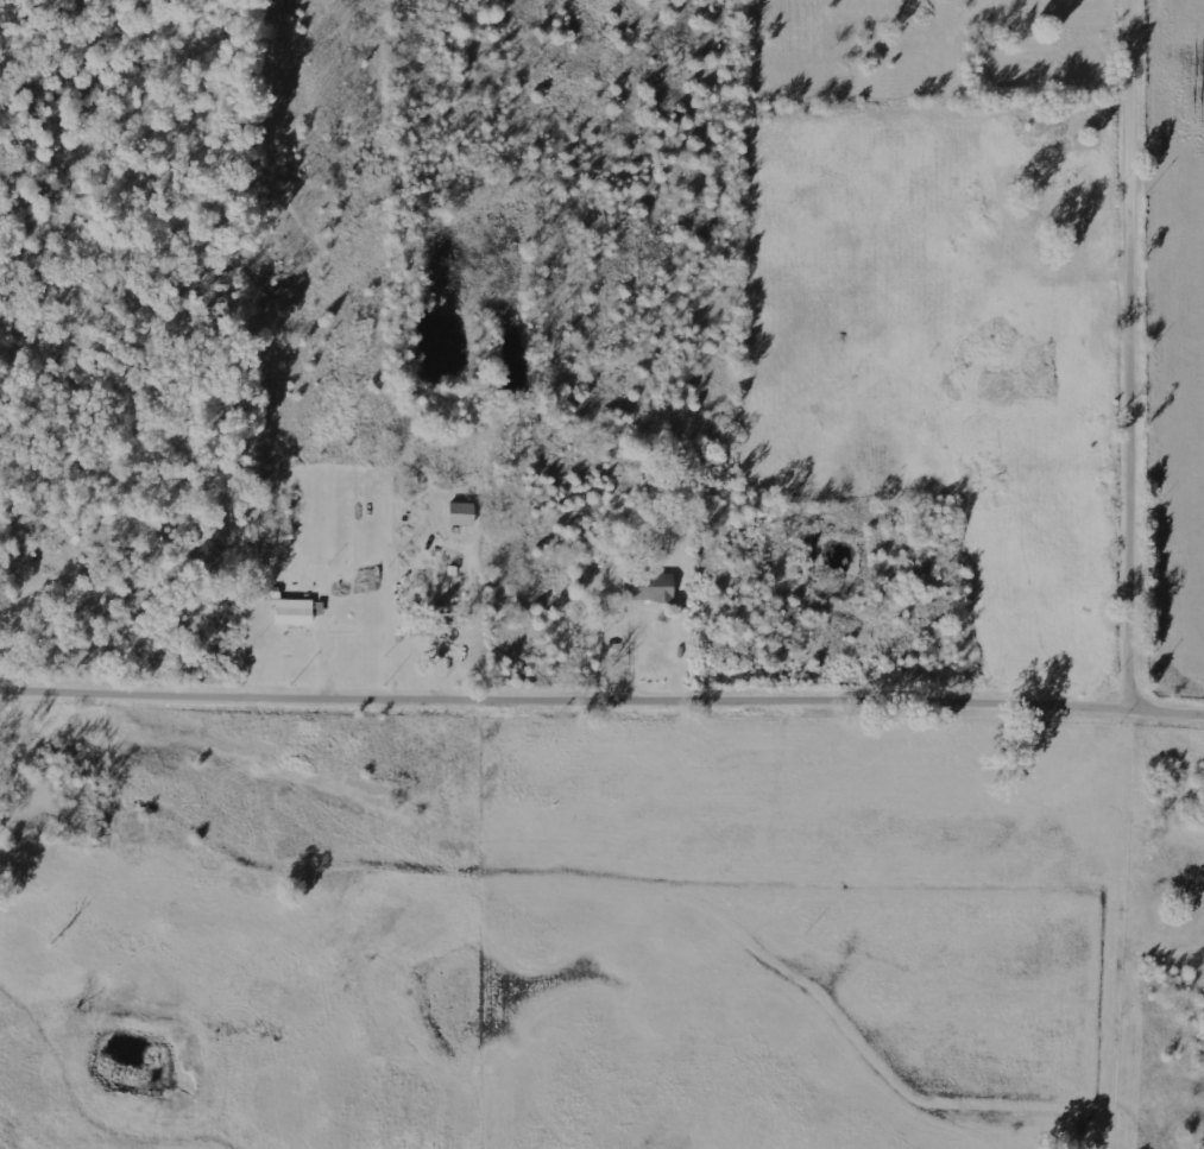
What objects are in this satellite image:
road: (1139, 354)
building: (462, 512)
building: (650, 586)
building: (295, 610)
building: (433, 629)
road: (601, 701)
road: (1121, 1065)

